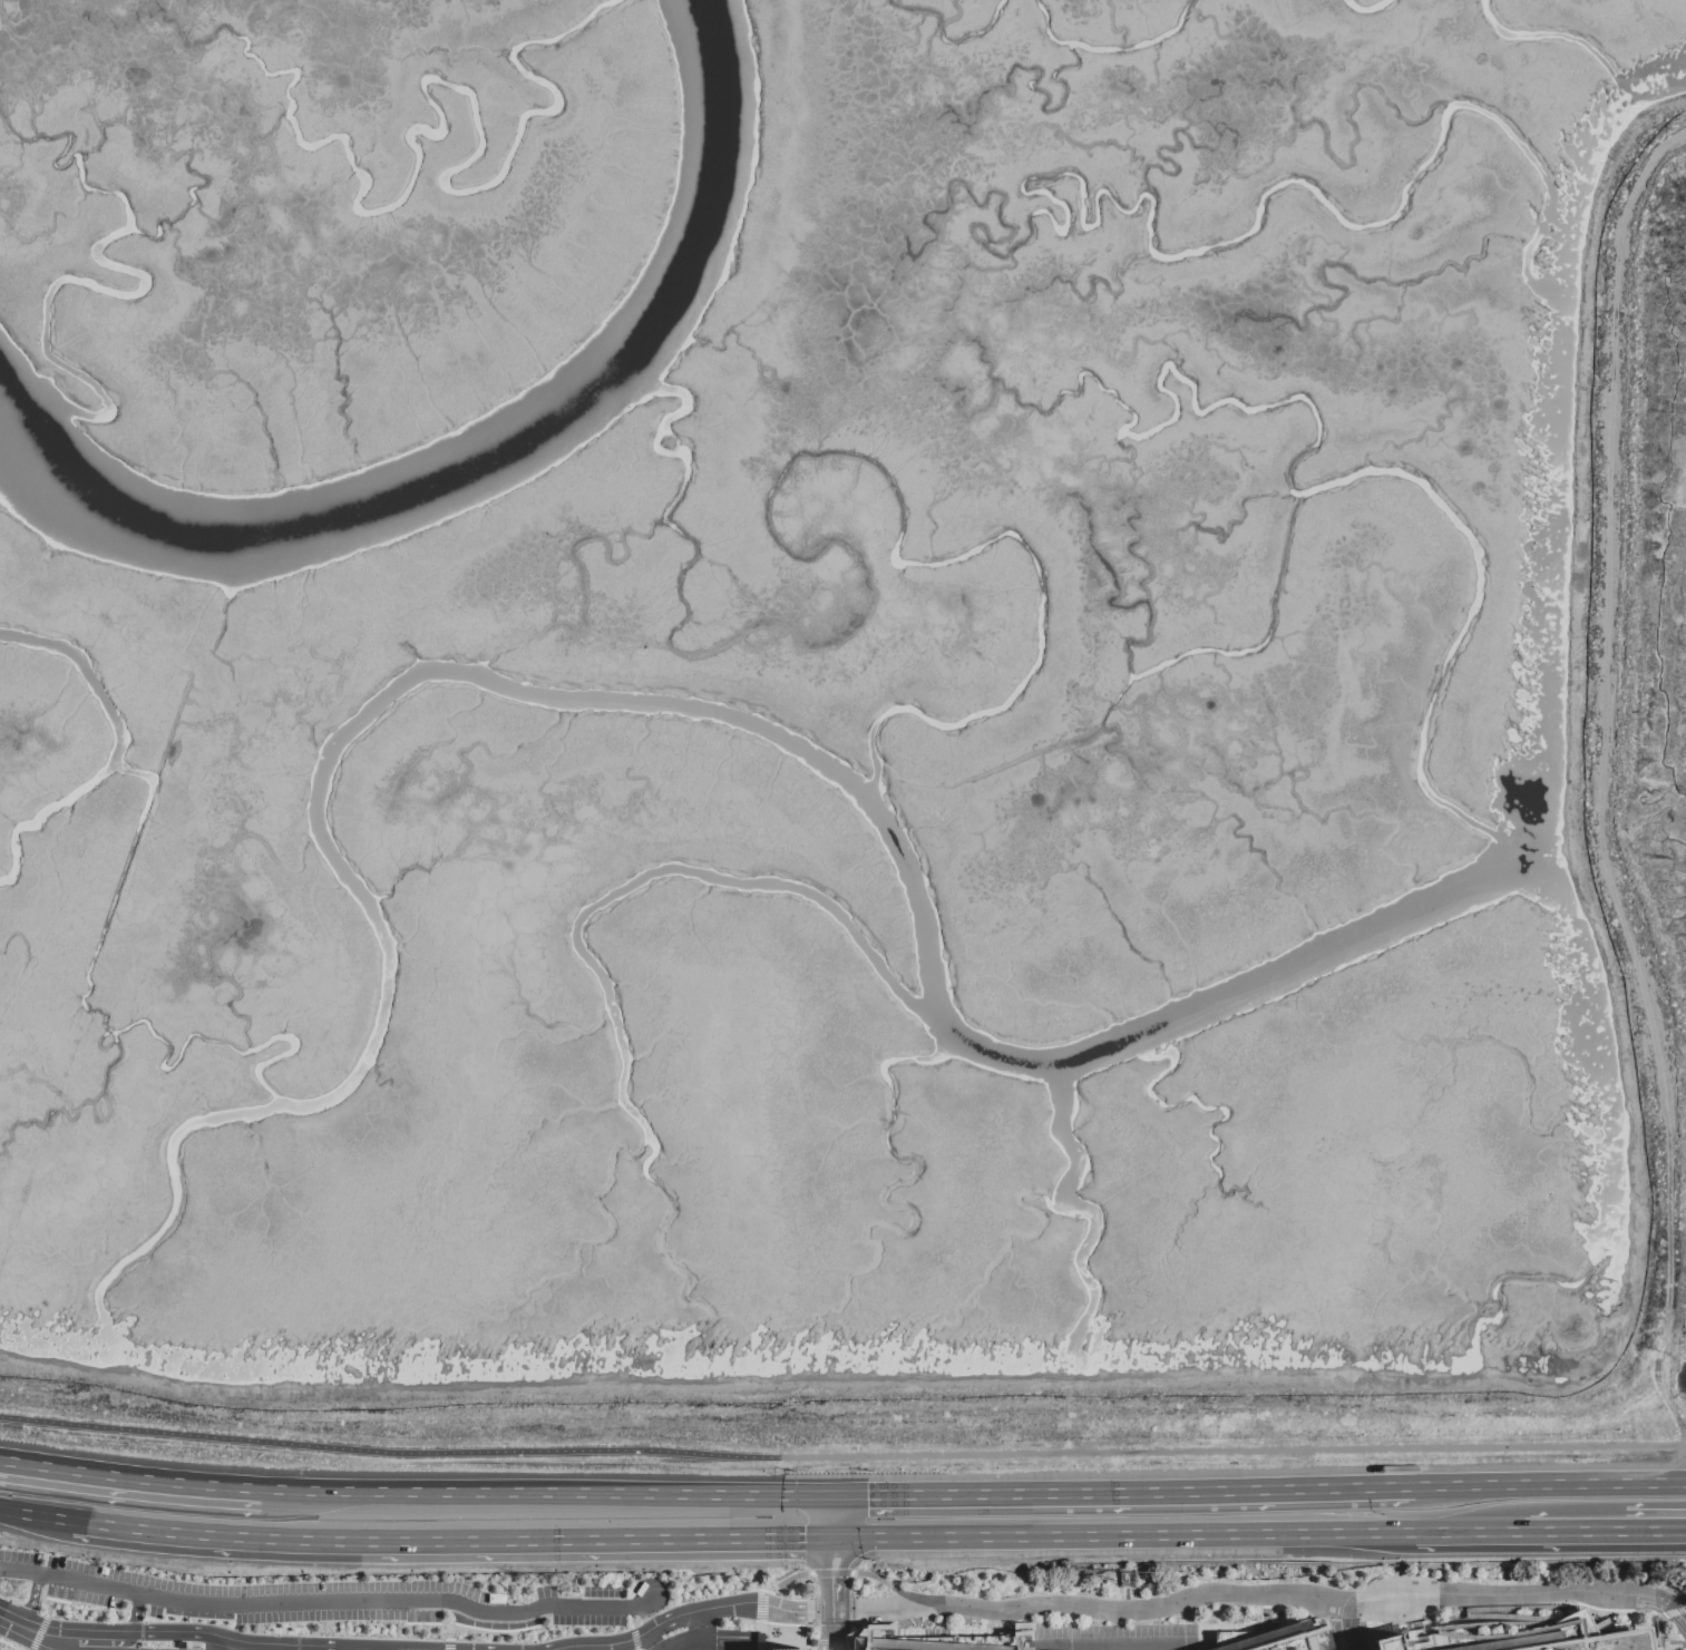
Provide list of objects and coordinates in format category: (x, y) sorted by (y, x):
road: (1670, 1403)
road: (1475, 1419)
road: (841, 1456)
road: (129, 1487)
road: (1555, 1487)
road: (1131, 1494)
traffic signals: (866, 1498)
road: (548, 1501)
road: (33, 1517)
road: (830, 1519)
road: (1565, 1532)
road: (1654, 1532)
road: (1458, 1533)
road: (1178, 1536)
road: (885, 1539)
traffic signals: (803, 1540)
road: (444, 1543)
street lamp: (21, 1549)
road: (842, 1560)
road: (822, 1561)
road: (18, 1570)
road: (829, 1572)
park: (1231, 1573)
traffic signals: (835, 1576)
street lamp: (335, 1579)
road: (783, 1581)
power tower: (1129, 1581)
street lamp: (465, 1582)
power tower: (567, 1582)
park: (866, 1586)
road: (889, 1586)
power tower: (20, 1588)
road: (1552, 1588)
park: (799, 1589)
road: (831, 1595)
parking lot: (329, 1598)
road: (30, 1600)
road: (42, 1600)
road: (344, 1600)
street lamp: (39, 1602)
road: (1658, 1604)
road: (759, 1607)
road: (1677, 1607)
road: (1134, 1609)
road: (685, 1612)
road: (1675, 1612)
park: (1236, 1613)
road: (133, 1617)
road: (628, 1618)
street lamp: (193, 1620)
street lamp: (374, 1622)
street lamp: (324, 1623)
road: (430, 1623)
park: (1638, 1623)
road: (759, 1625)
road: (1349, 1625)
street lamp: (262, 1627)
street lamp: (430, 1627)
road: (831, 1630)
road: (179, 1631)
road: (38, 1632)
road: (493, 1632)
street lamp: (481, 1636)
parking lot: (1112, 1636)
road: (58, 1637)
building: (1570, 1638)
road: (633, 1639)
road: (651, 1639)
building: (1275, 1639)
road: (1279, 1640)
parking lot: (1475, 1641)
park: (1598, 1641)
street lamp: (140, 1642)
road: (447, 1642)
building: (1383, 1643)
road: (10, 1644)
road: (126, 1644)
building: (179, 1644)
building: (918, 1644)
road: (439, 1646)
parking lot: (655, 1646)
road: (864, 1646)
park: (1285, 1646)
park: (1680, 1646)
building: (4, 1647)
road: (1595, 1648)
parking lot: (1609, 1648)
building: (791, 1649)

